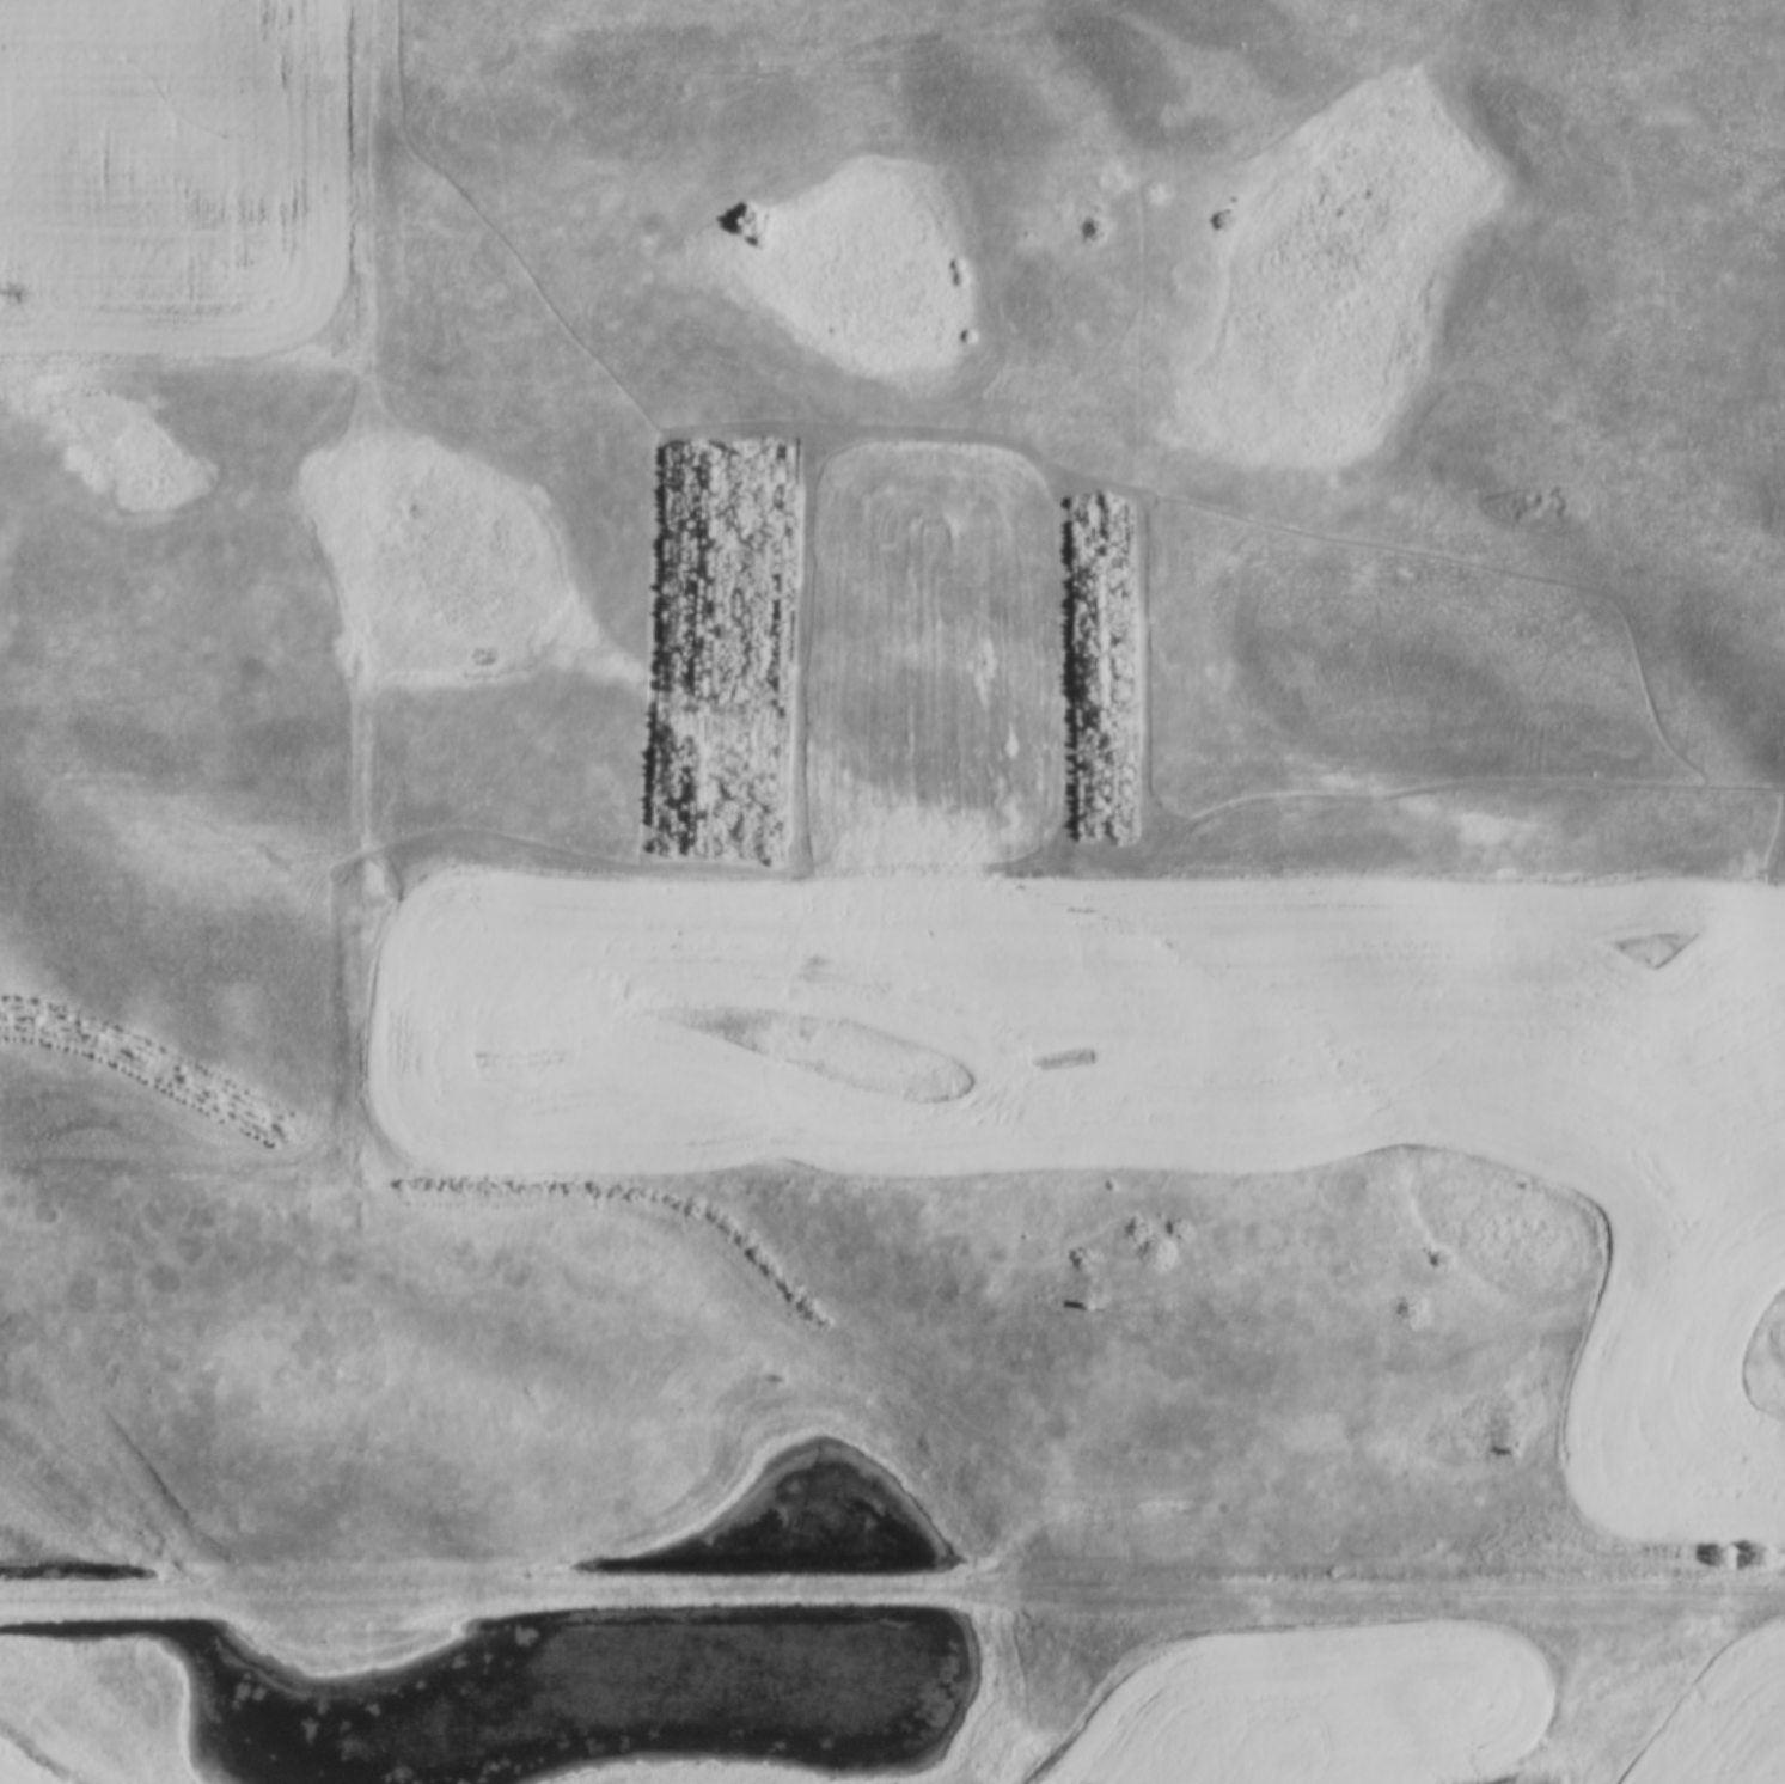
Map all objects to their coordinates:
road: (892, 1588)

